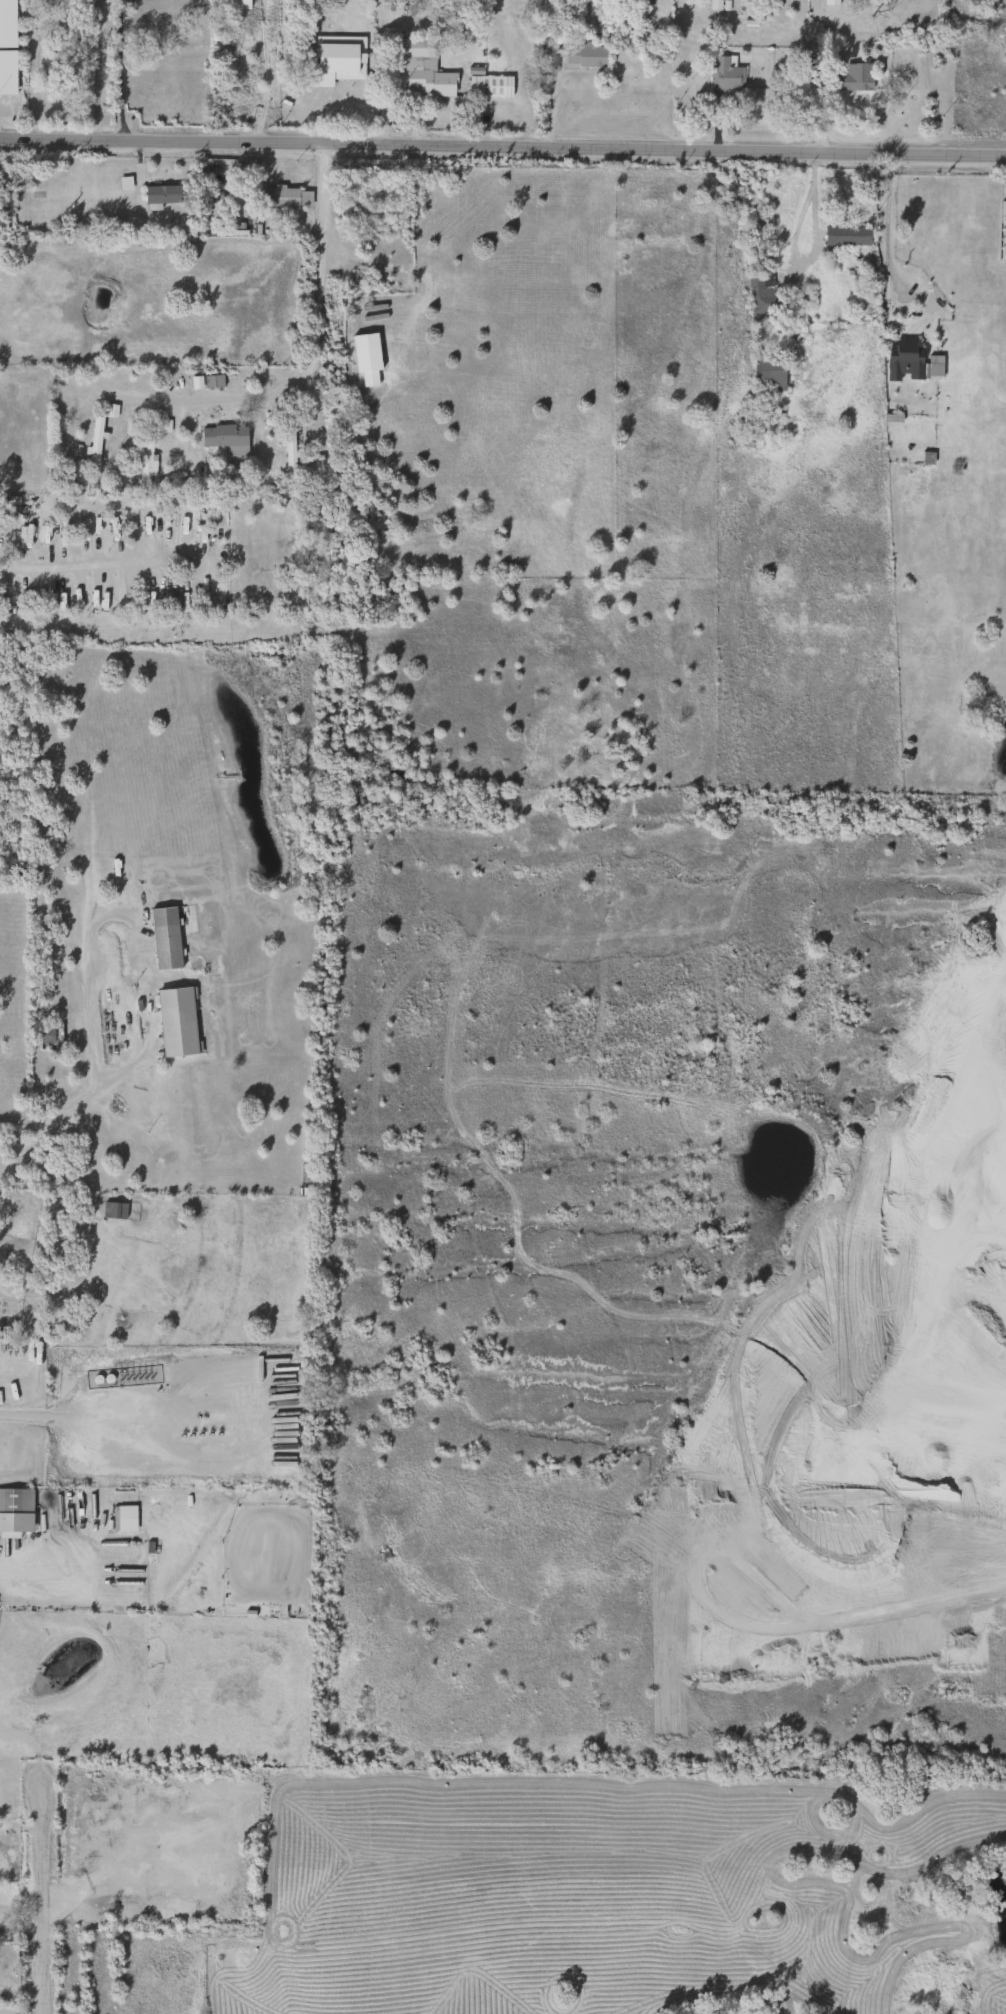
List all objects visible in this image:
building: (829, 2)
building: (233, 4)
building: (583, 55)
road: (31, 65)
road: (116, 68)
road: (390, 69)
building: (422, 71)
road: (263, 73)
building: (723, 74)
building: (849, 77)
building: (487, 87)
road: (502, 144)
building: (18, 177)
building: (158, 196)
building: (285, 198)
building: (754, 221)
road: (886, 221)
building: (842, 237)
road: (813, 245)
building: (759, 299)
road: (314, 356)
building: (909, 363)
building: (766, 375)
building: (211, 382)
building: (223, 438)
building: (93, 441)
building: (143, 461)
road: (106, 563)
building: (163, 938)
building: (176, 1021)
road: (92, 1037)
building: (302, 1192)
road: (30, 1408)
road: (260, 1411)
building: (15, 1501)
road: (26, 1572)
road: (44, 1893)

